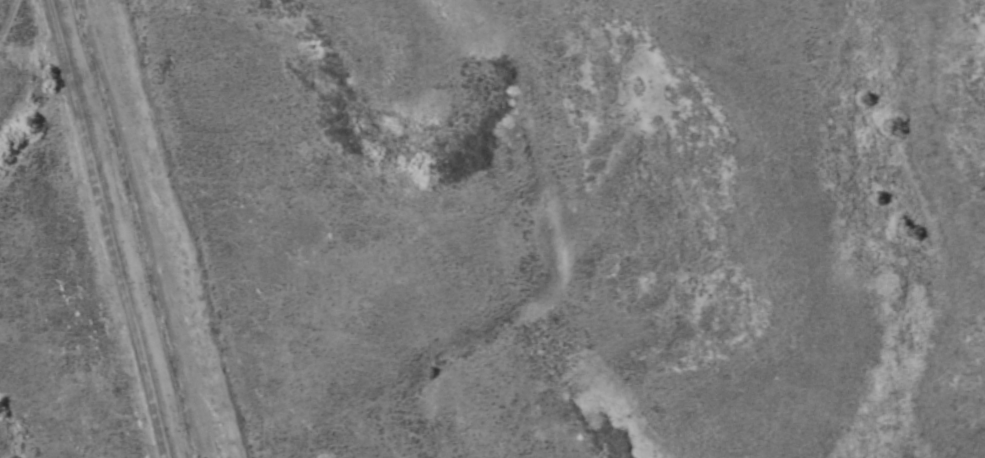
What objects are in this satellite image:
road: (79, 229)

